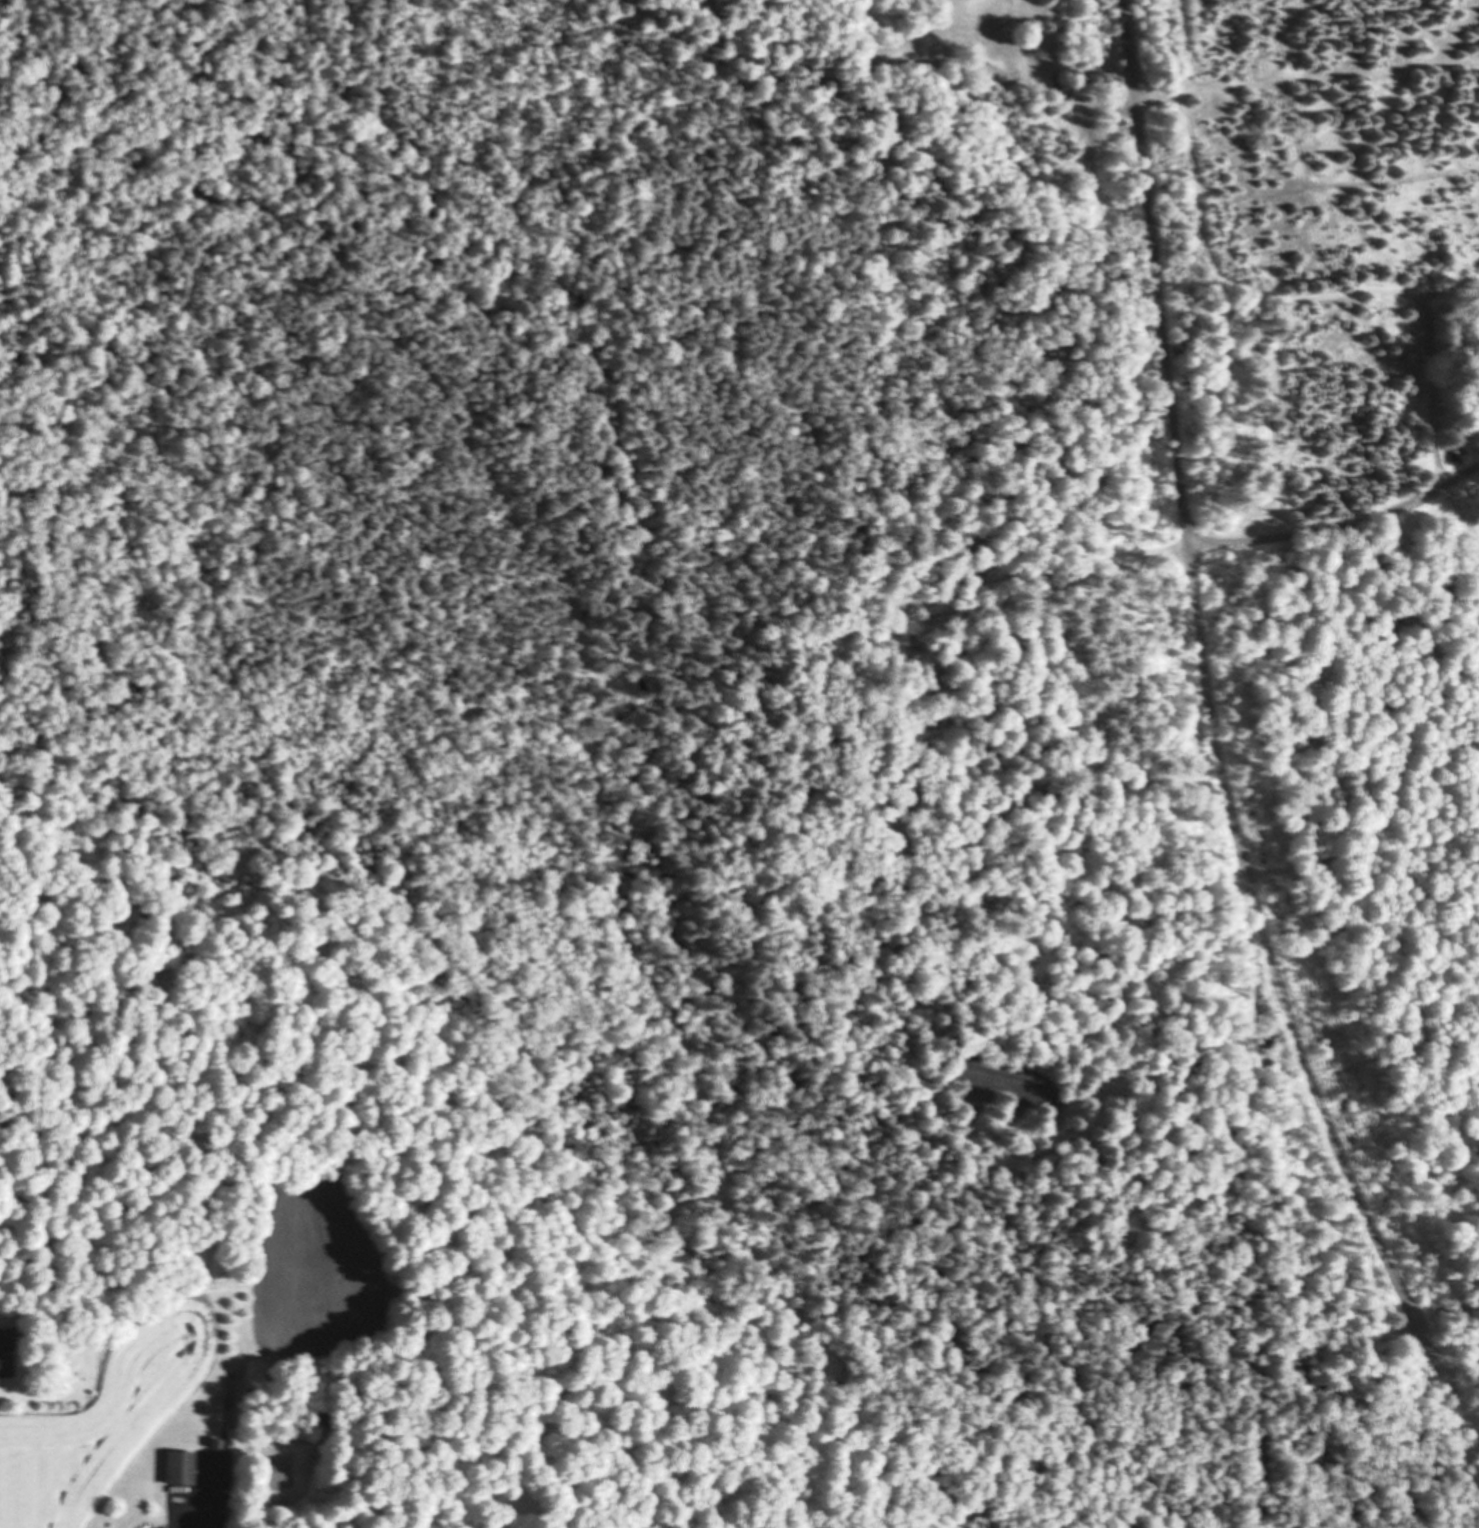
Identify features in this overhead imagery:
road: (1149, 261)
building: (1456, 454)
road: (1329, 526)
road: (1268, 1000)
building: (7, 1353)
building: (324, 1421)
building: (215, 1446)
building: (182, 1469)

